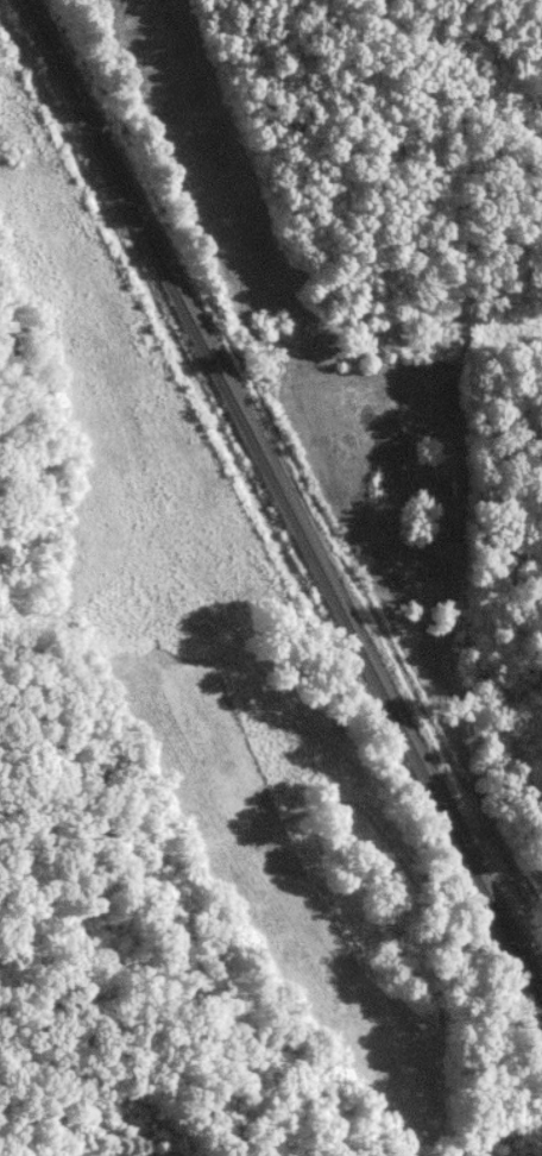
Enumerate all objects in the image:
railway: (284, 500)
road: (433, 523)

